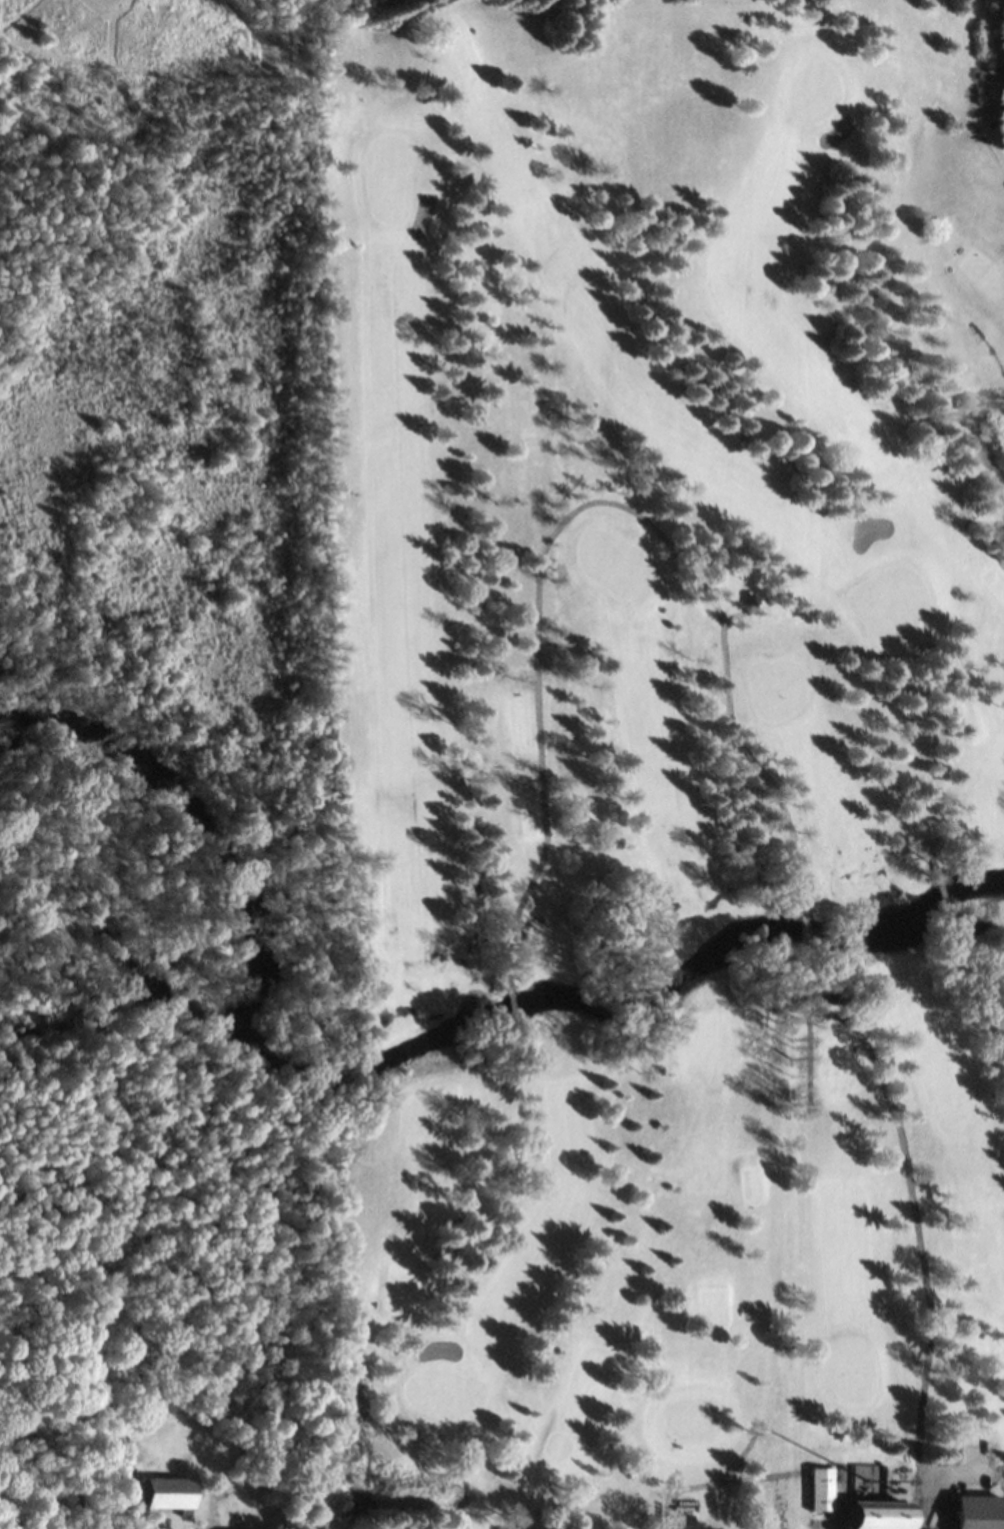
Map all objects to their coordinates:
building: (754, 597)
road: (730, 693)
park: (642, 764)
road: (946, 907)
road: (811, 1044)
river: (398, 1061)
building: (823, 1489)
building: (170, 1493)
building: (980, 1512)
building: (880, 1514)
building: (683, 1521)

